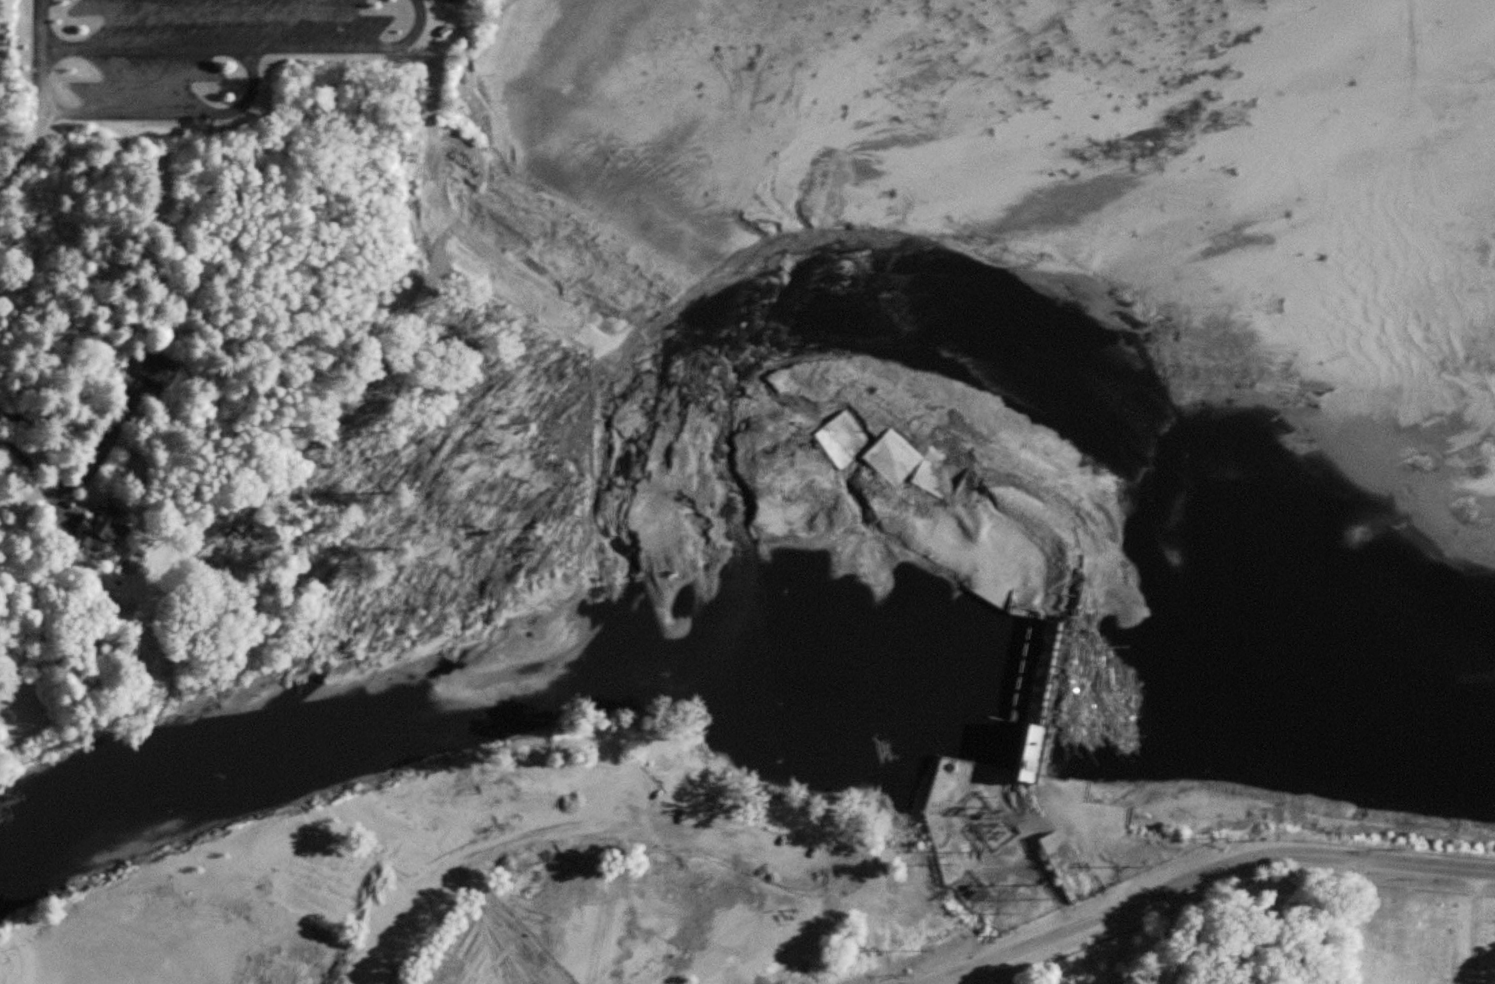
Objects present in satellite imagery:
road: (42, 25)
road: (250, 49)
parking lot: (175, 50)
road: (144, 112)
road: (493, 257)
park: (308, 289)
river: (988, 350)
building: (165, 369)
dam: (820, 437)
road: (31, 469)
building: (116, 531)
river: (1069, 676)
river: (353, 710)
river: (1453, 725)
building: (1034, 765)
road: (689, 785)
road: (331, 805)
road: (654, 814)
power substation: (991, 819)
road: (576, 832)
road: (1017, 860)
building: (309, 870)
road: (1206, 875)
parking lot: (811, 878)
park: (517, 881)
power substation: (971, 886)
road: (1235, 886)
park: (343, 891)
road: (870, 915)
road: (1355, 922)
park: (617, 926)
road: (1477, 927)
park: (1302, 940)
park: (136, 945)
park: (489, 953)
road: (985, 974)
road: (892, 982)

